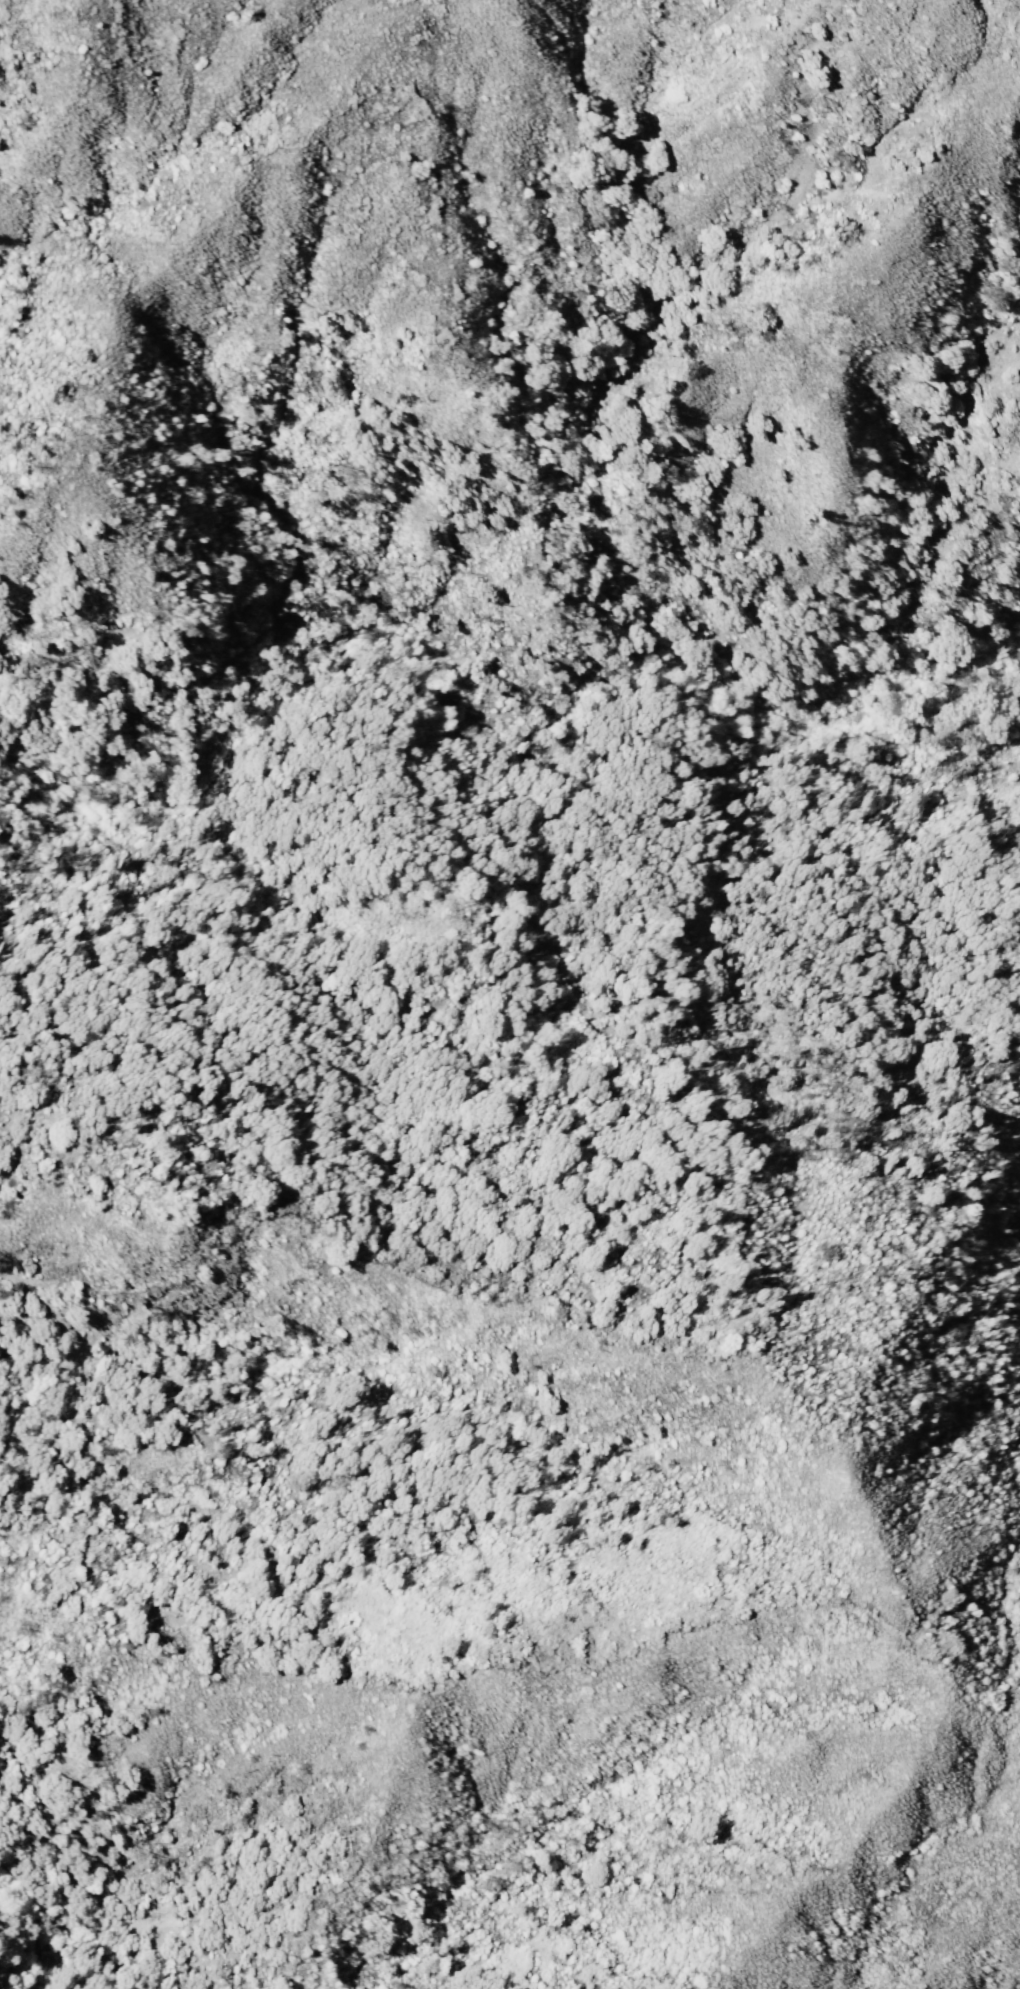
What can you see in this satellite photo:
road: (493, 768)

